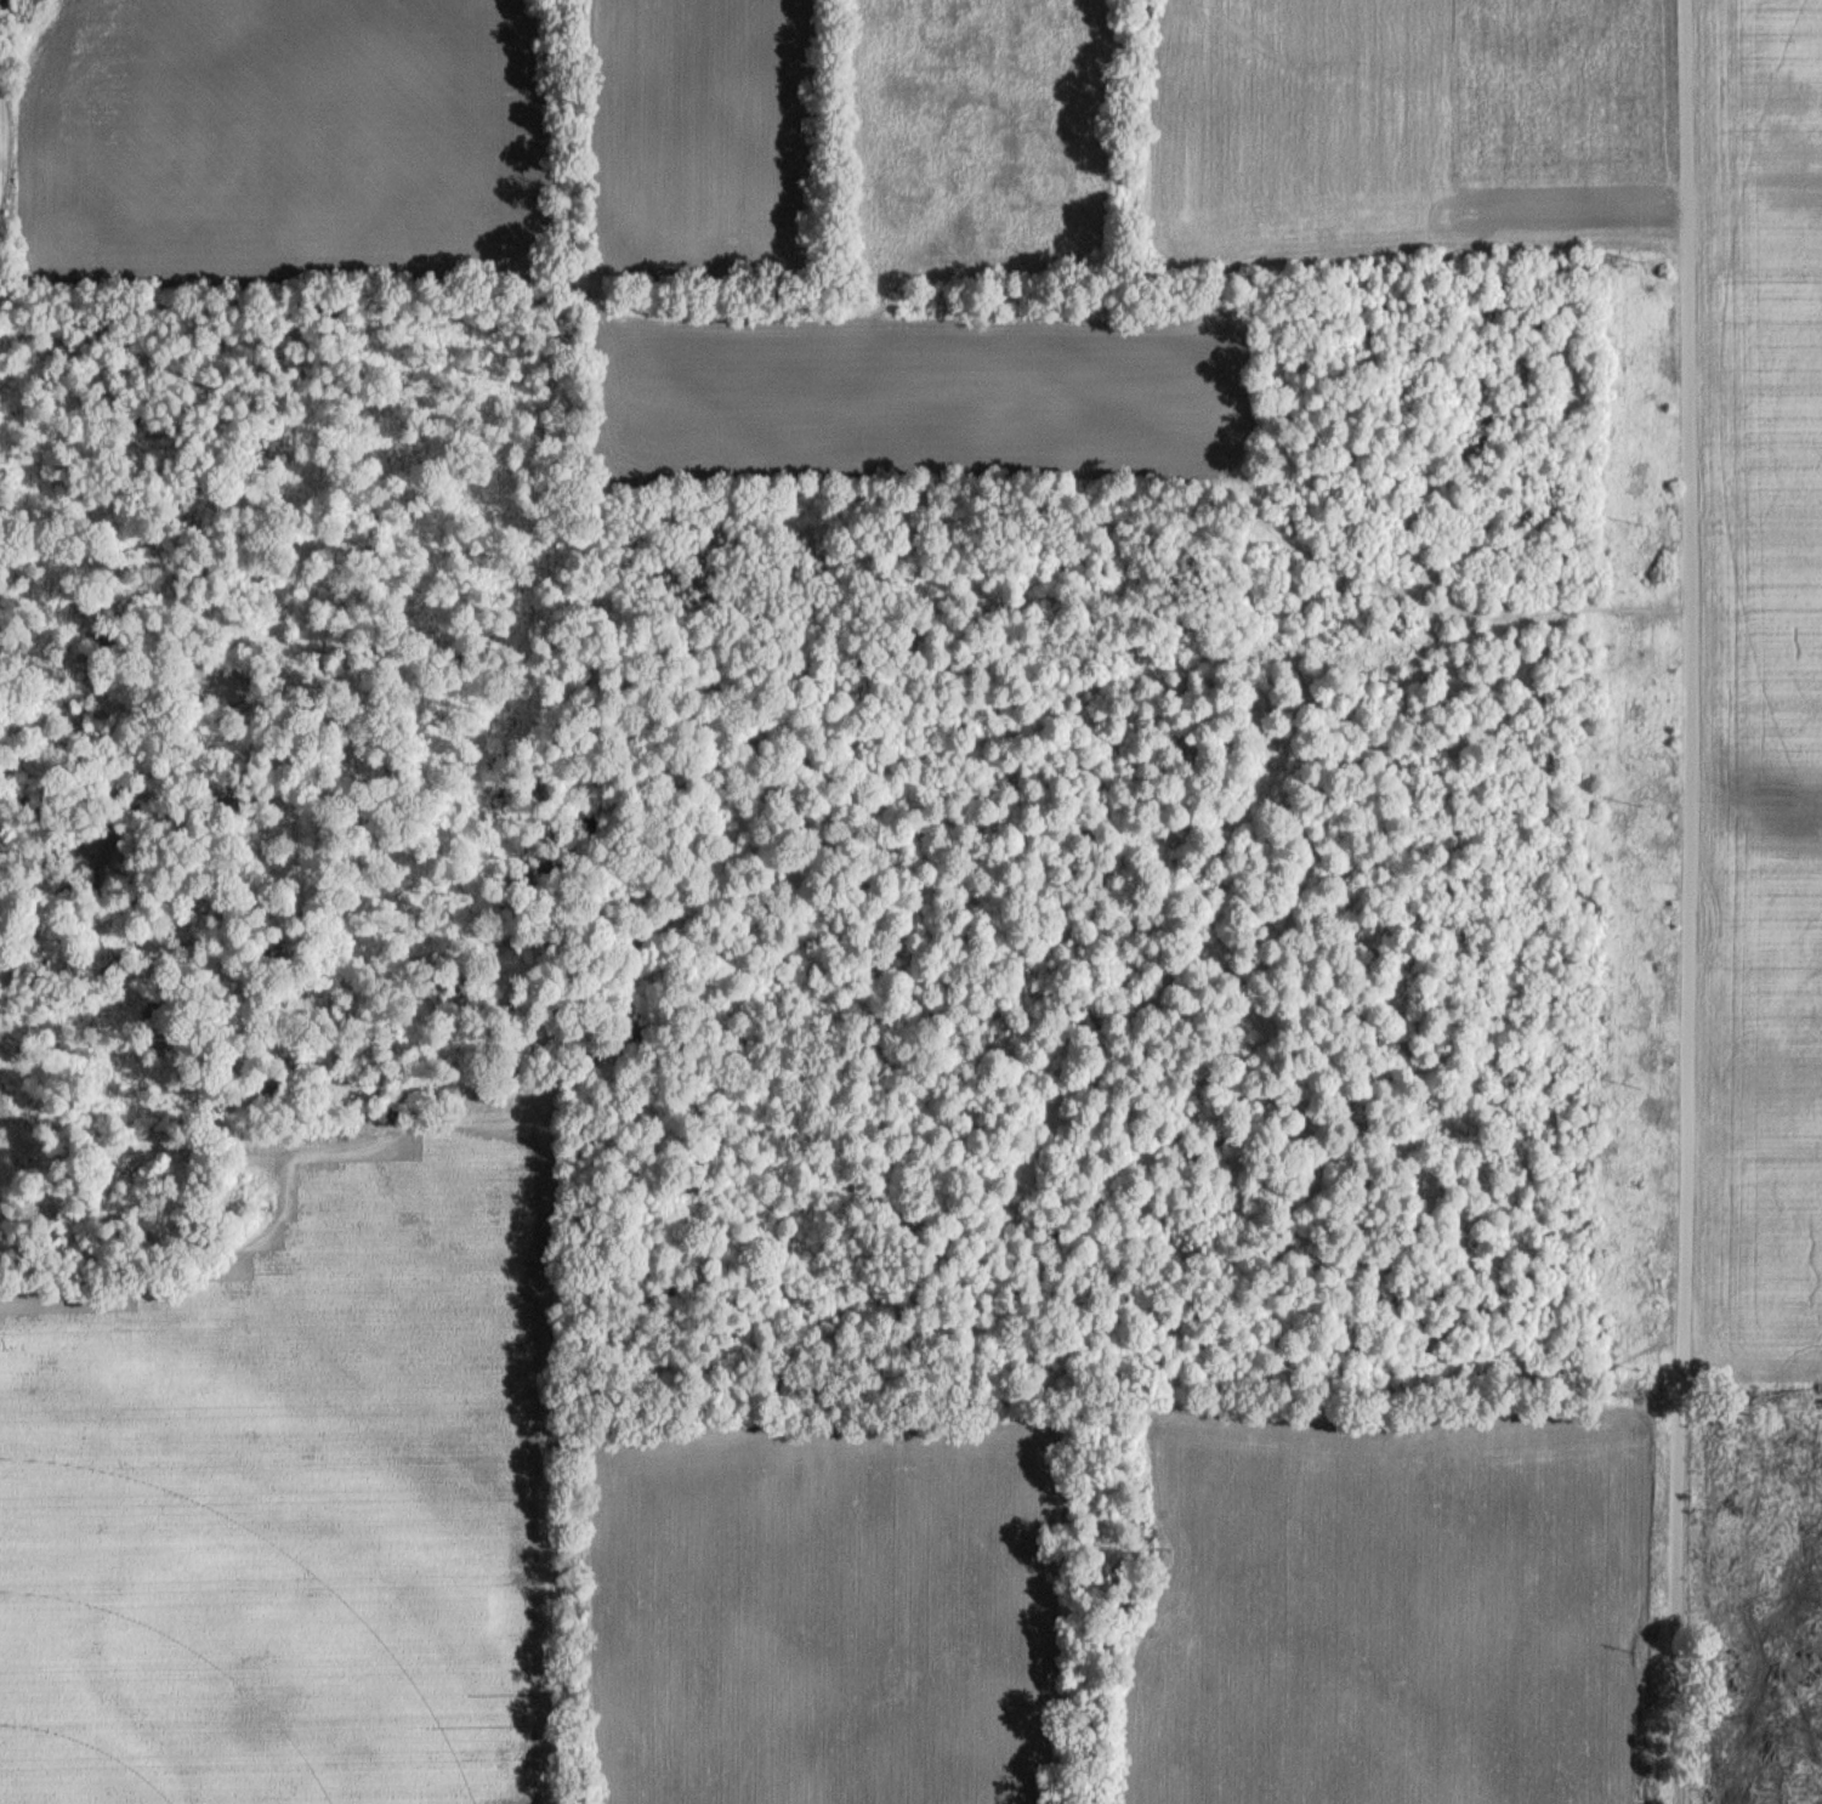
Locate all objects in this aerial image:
road: (1682, 902)

